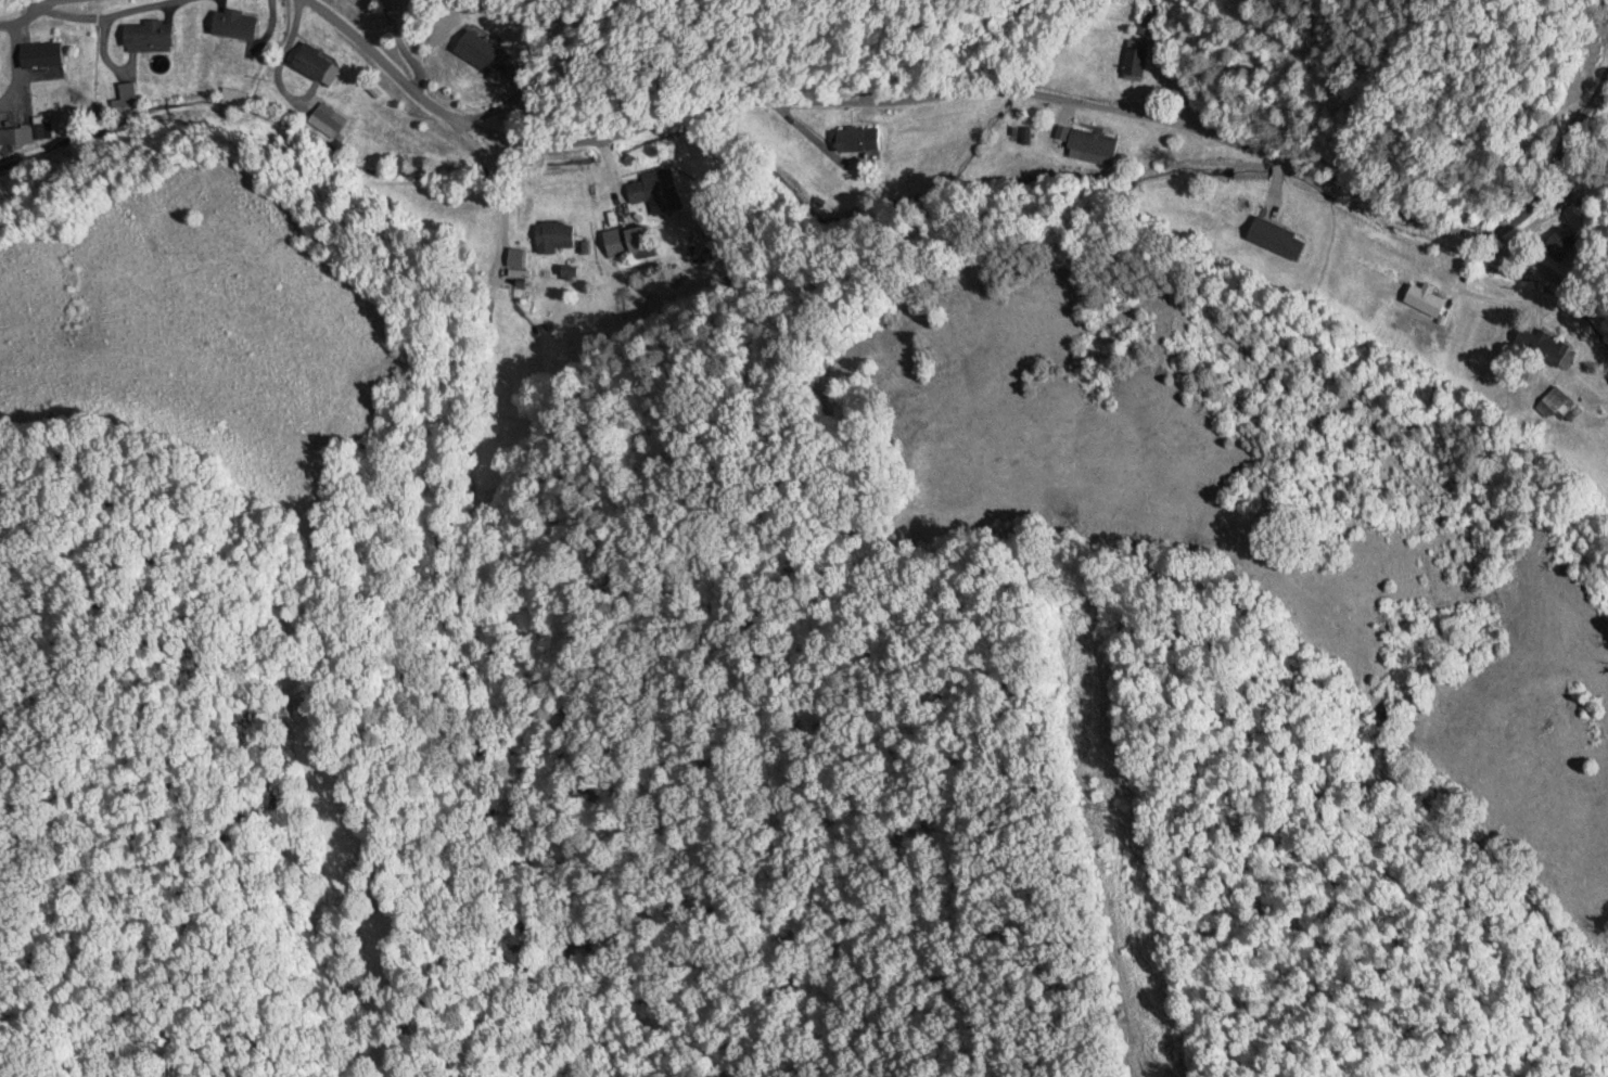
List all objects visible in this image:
building: (233, 22)
building: (146, 34)
building: (475, 47)
building: (39, 52)
road: (1112, 57)
building: (1134, 57)
building: (311, 60)
road: (963, 91)
building: (324, 121)
building: (26, 132)
building: (856, 137)
building: (1092, 140)
building: (655, 190)
road: (1556, 220)
building: (553, 235)
building: (1275, 236)
building: (639, 240)
building: (1557, 242)
building: (515, 257)
building: (1544, 345)
building: (1557, 403)

